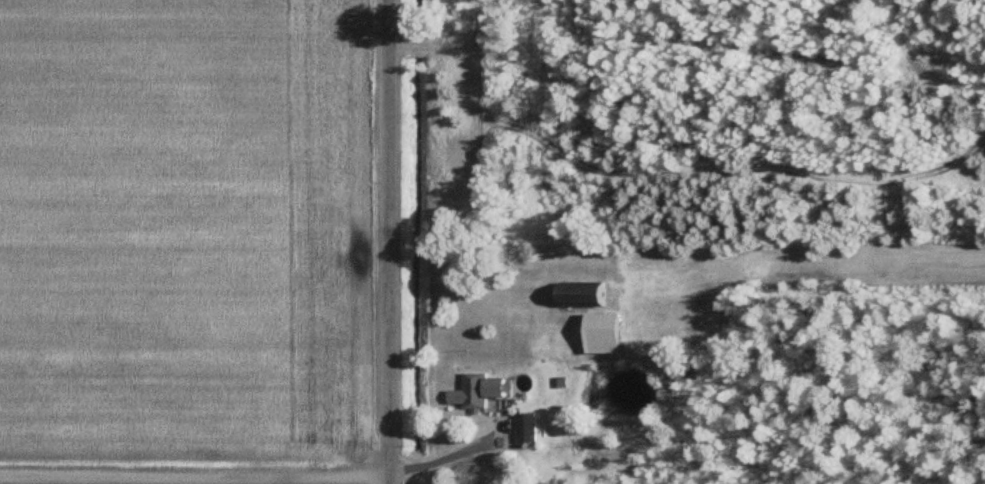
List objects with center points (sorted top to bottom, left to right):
road: (387, 242)
building: (594, 293)
building: (615, 332)
building: (489, 389)
building: (535, 426)
road: (194, 477)

